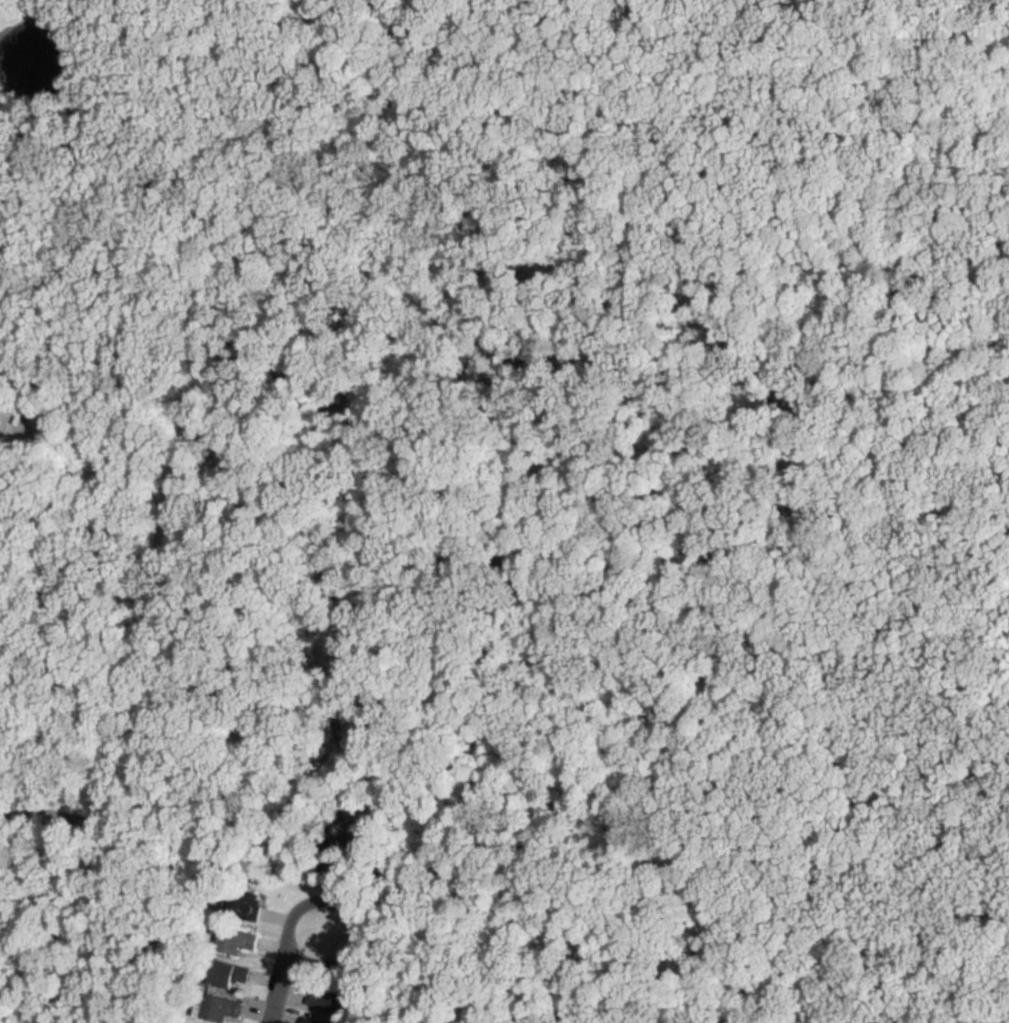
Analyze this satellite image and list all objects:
building: (232, 934)
road: (332, 959)
building: (223, 967)
road: (275, 985)
building: (216, 1002)
building: (313, 1017)
building: (198, 1021)

